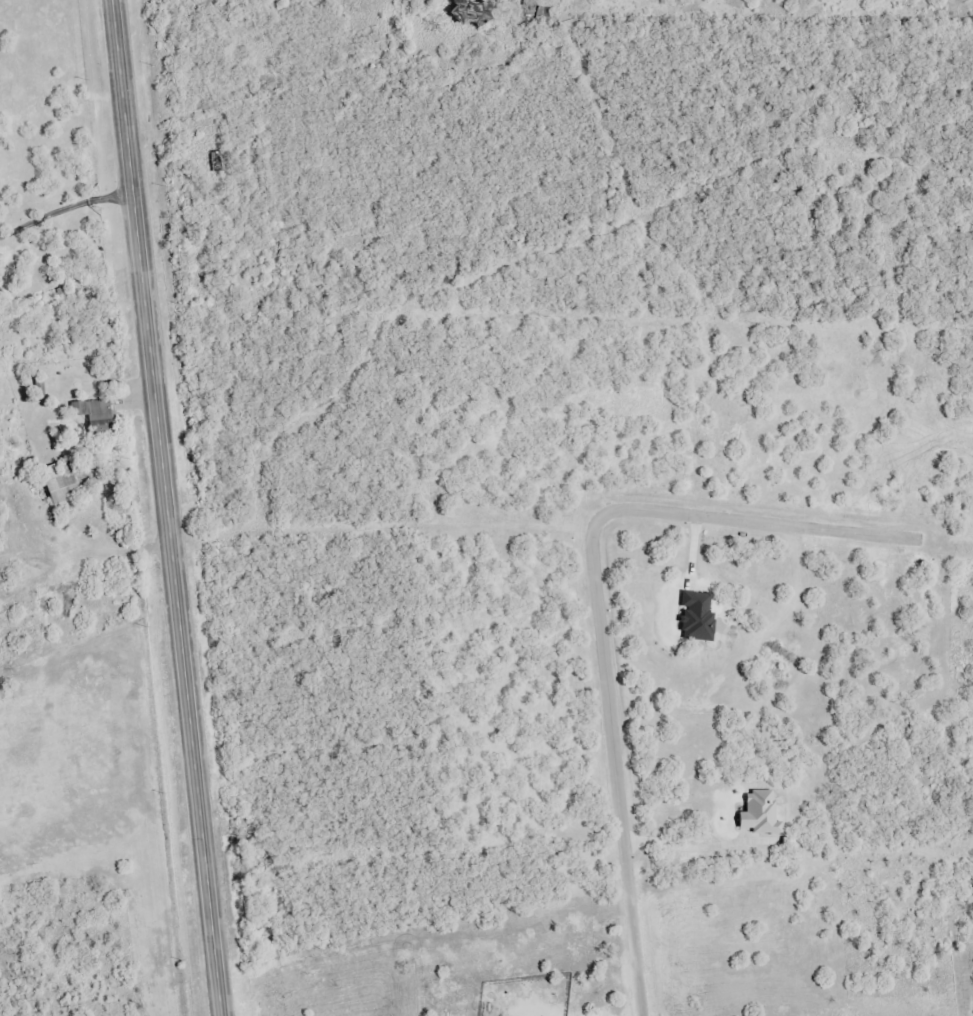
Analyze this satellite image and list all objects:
road: (219, 48)
road: (62, 213)
road: (511, 239)
road: (137, 271)
road: (195, 779)

